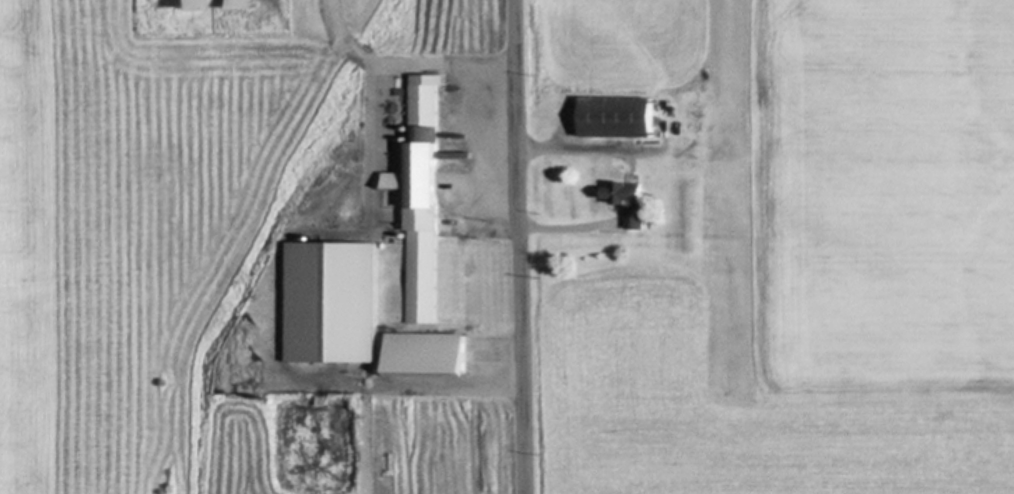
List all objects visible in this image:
building: (193, 5)
building: (247, 5)
road: (408, 61)
building: (620, 117)
building: (424, 197)
building: (632, 202)
road: (572, 226)
road: (519, 246)
building: (335, 302)
building: (428, 353)
road: (421, 385)

